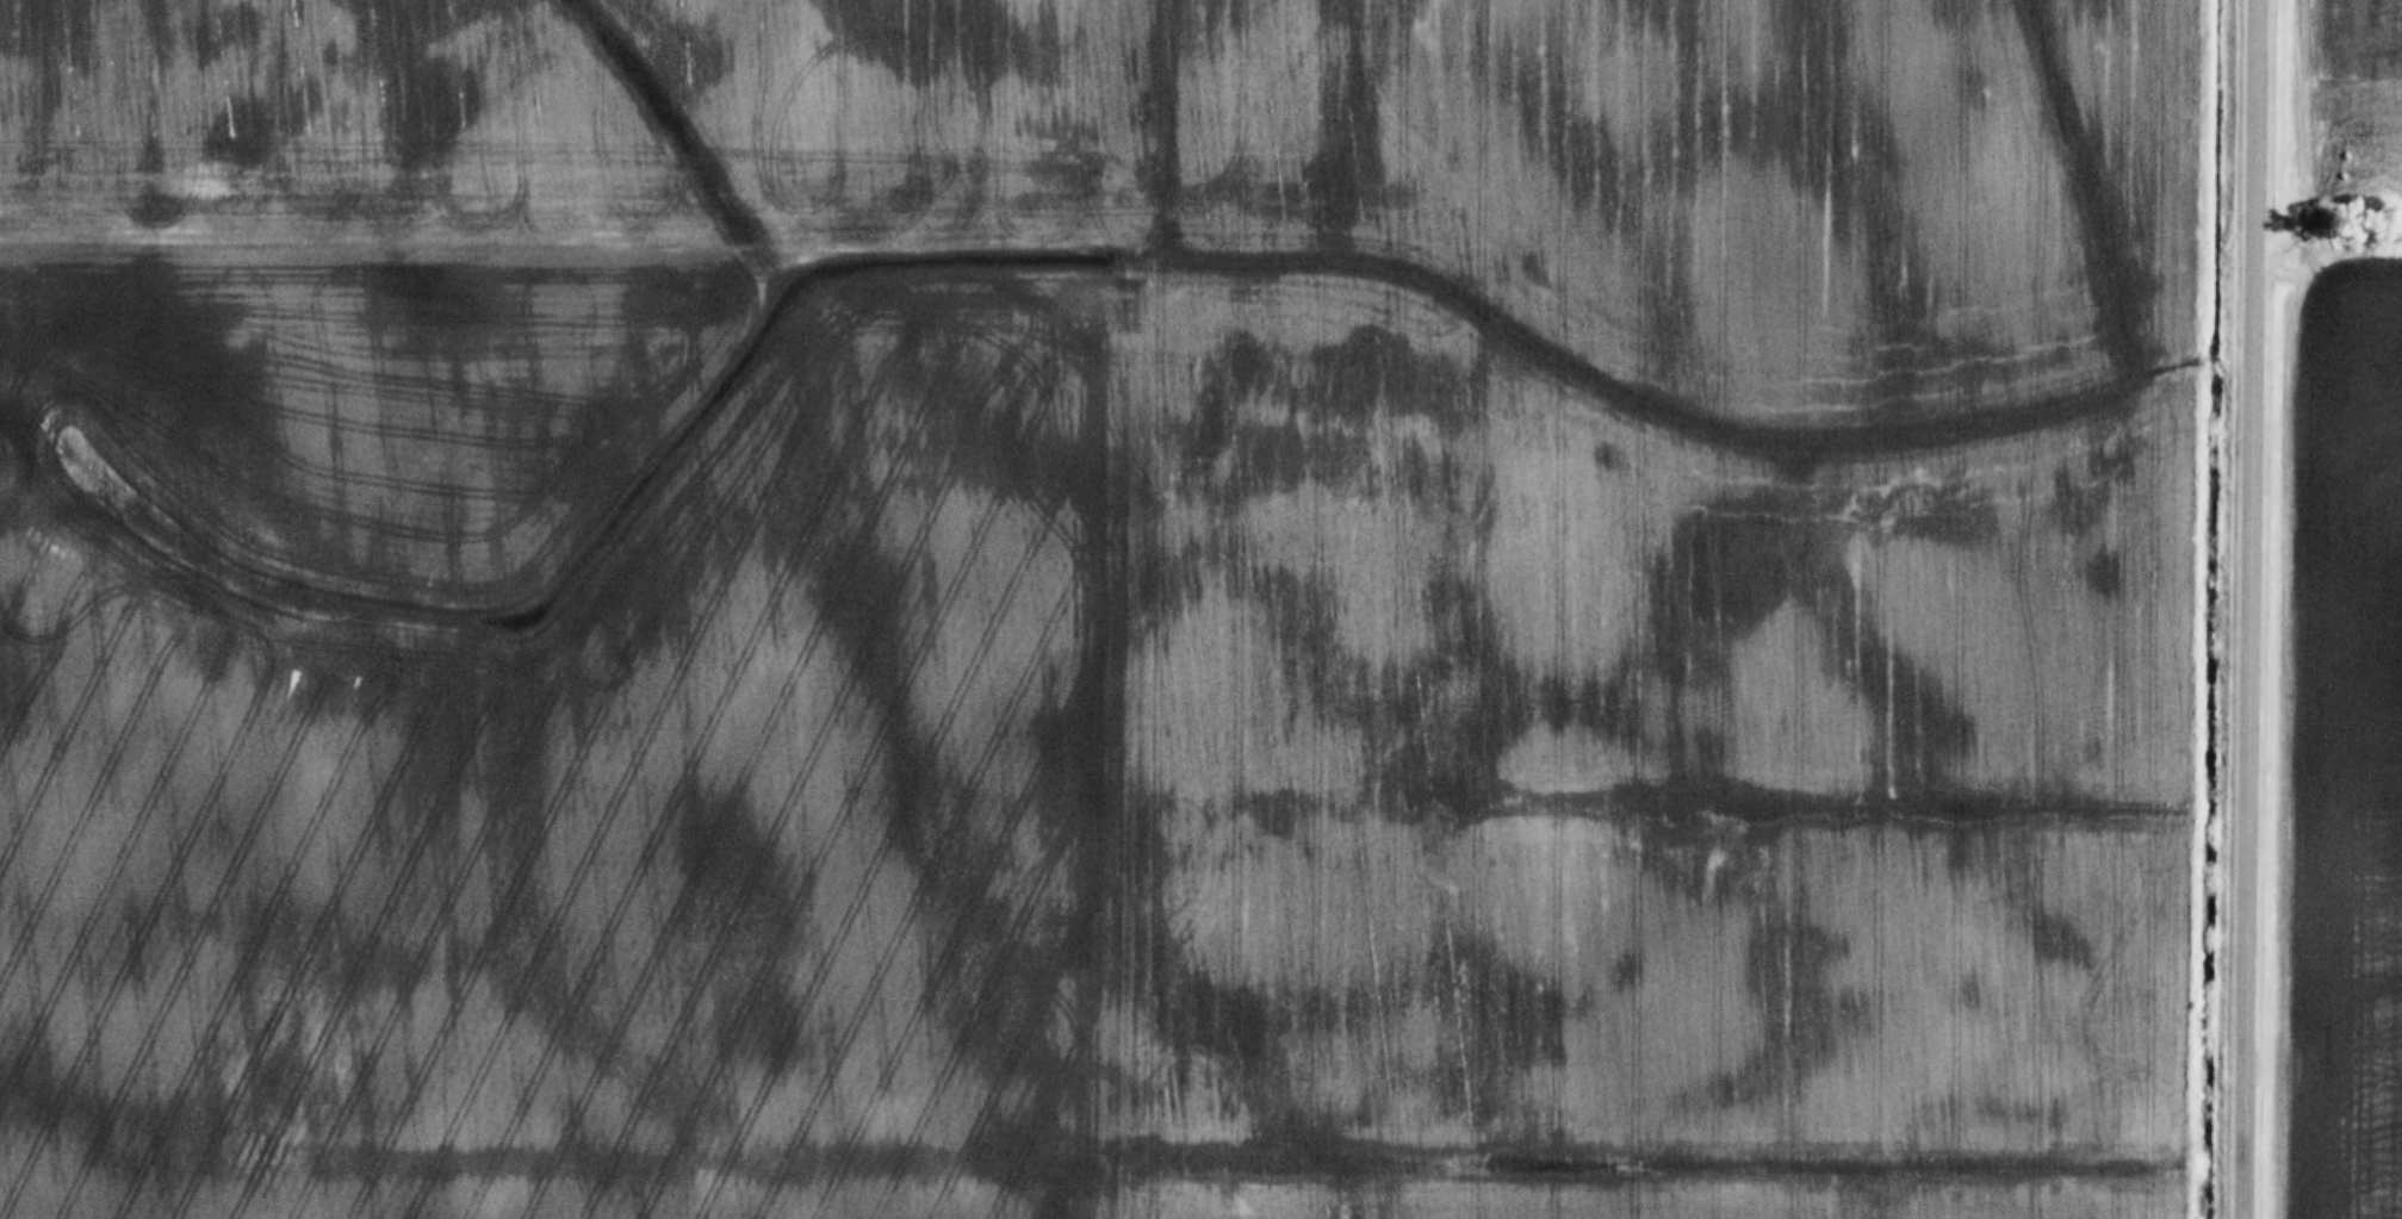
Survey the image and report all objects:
road: (2252, 609)

